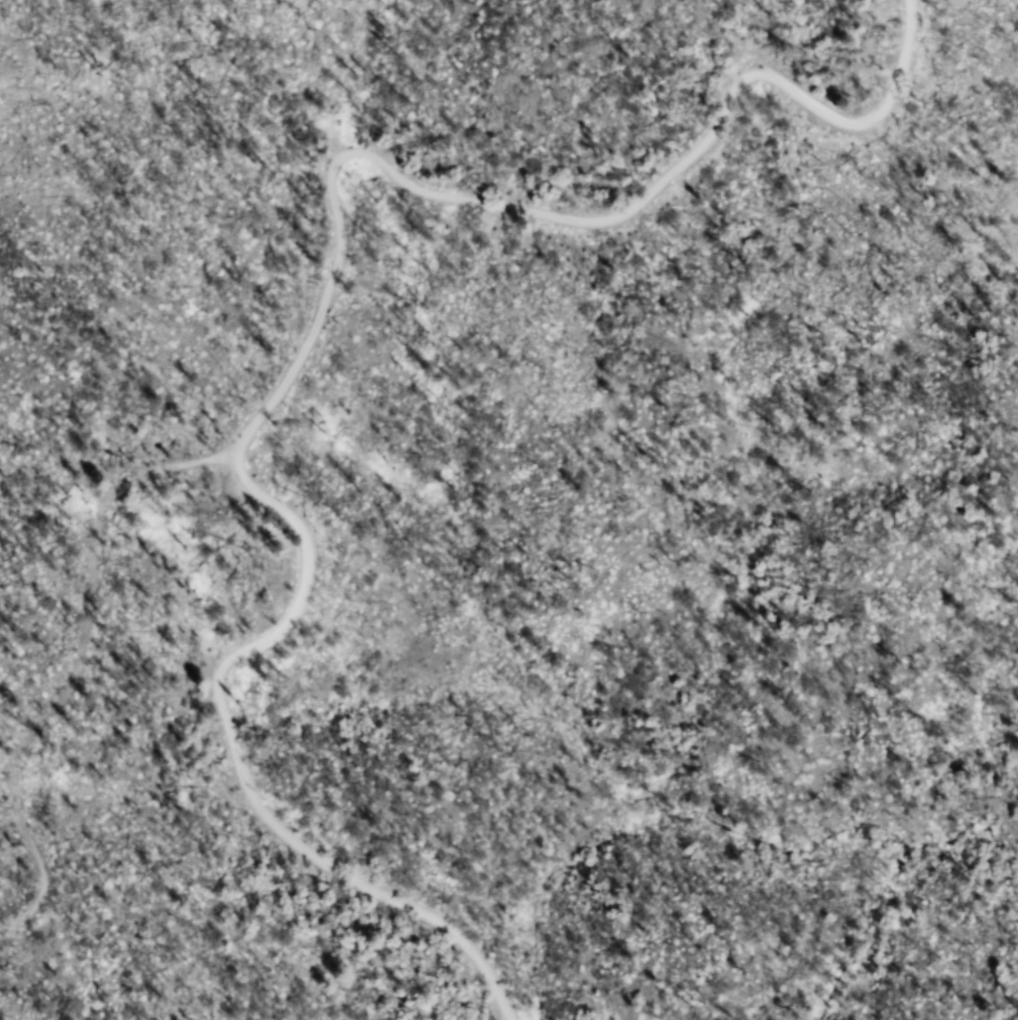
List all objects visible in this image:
road: (322, 317)

